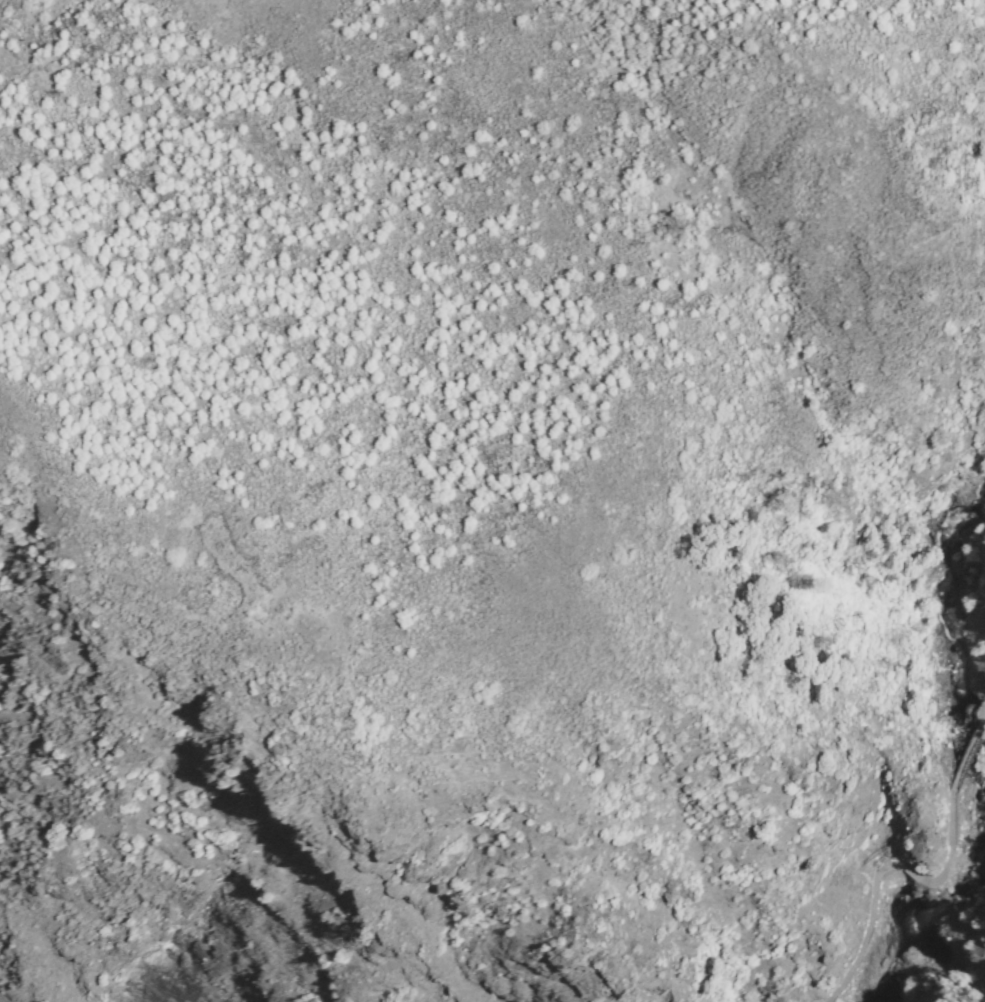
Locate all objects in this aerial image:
river: (962, 663)
road: (972, 757)
river: (984, 852)
road: (896, 870)
river: (951, 927)

